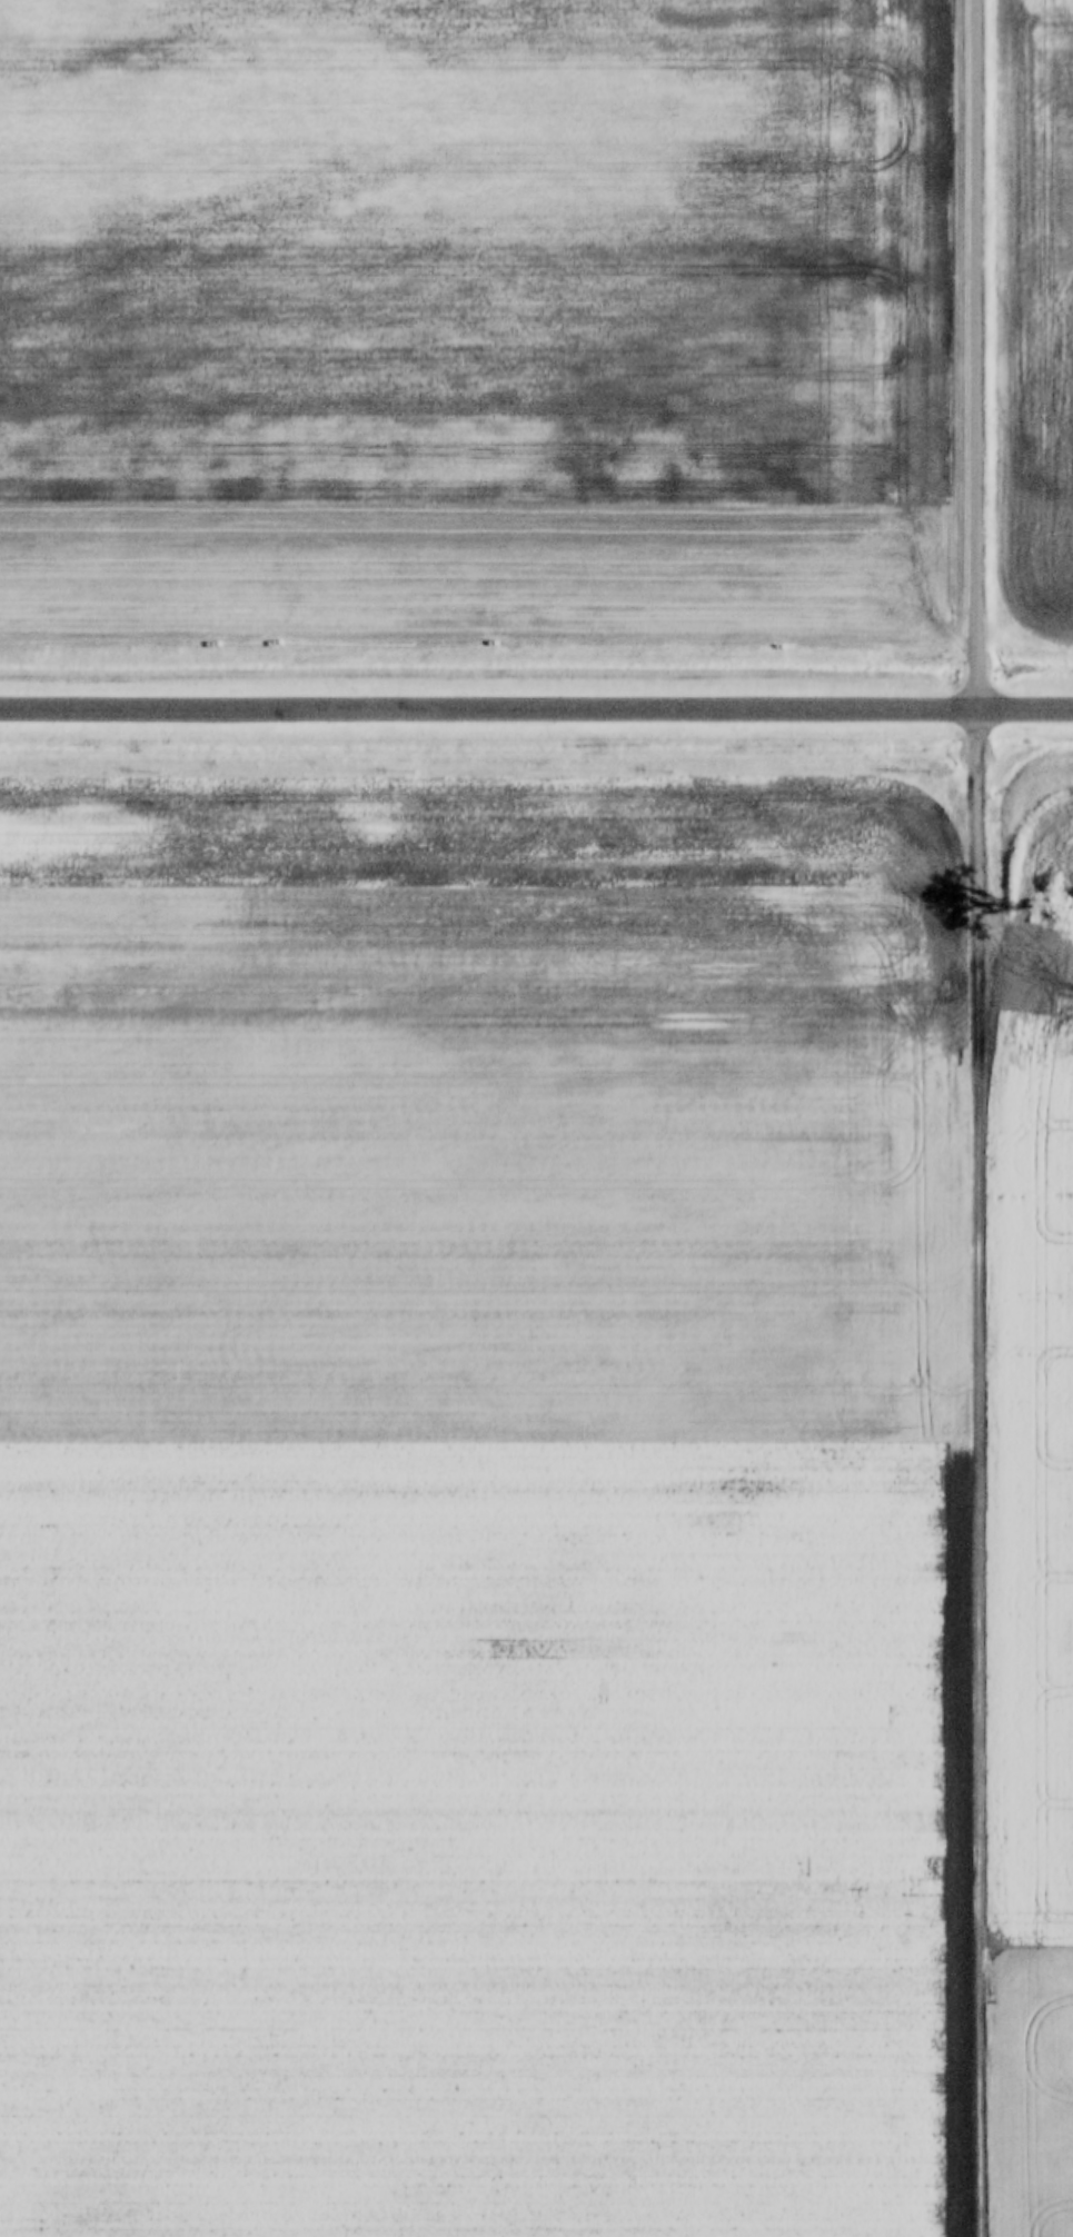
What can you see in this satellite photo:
road: (972, 355)
road: (536, 709)

